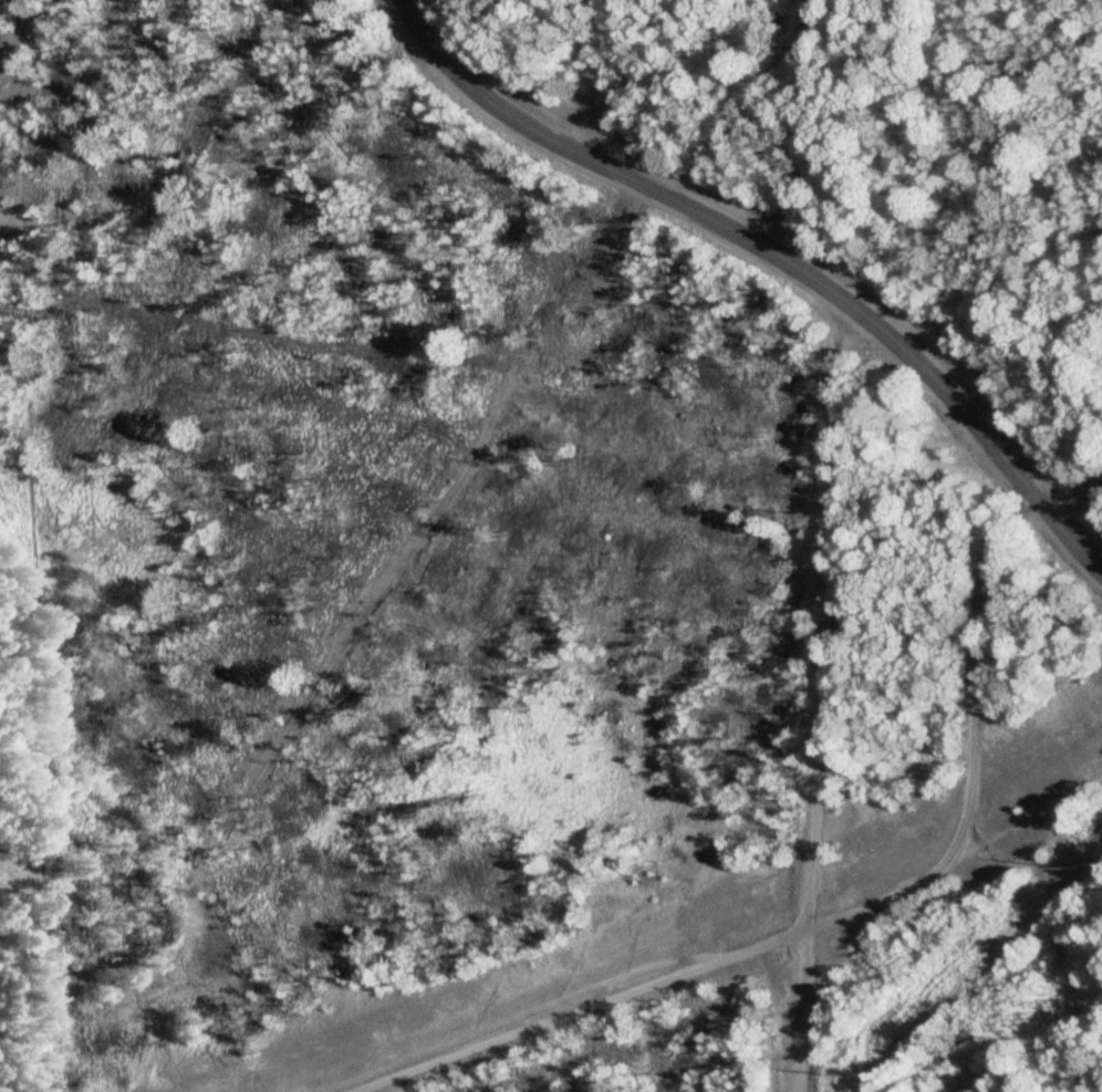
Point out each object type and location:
road: (735, 233)
road: (1073, 491)
road: (1073, 530)
road: (823, 614)
road: (977, 651)
road: (1053, 945)
road: (673, 979)
road: (802, 1012)

